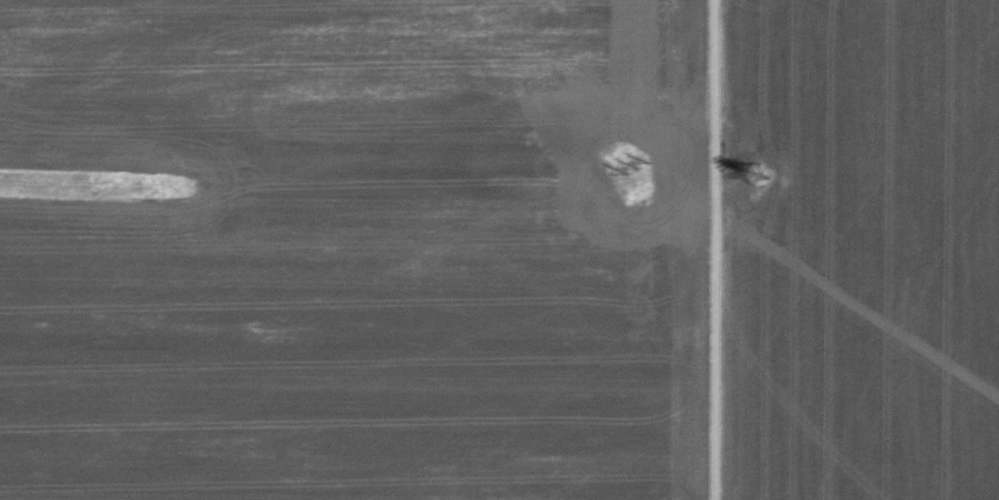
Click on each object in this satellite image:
power tower: (758, 170)

